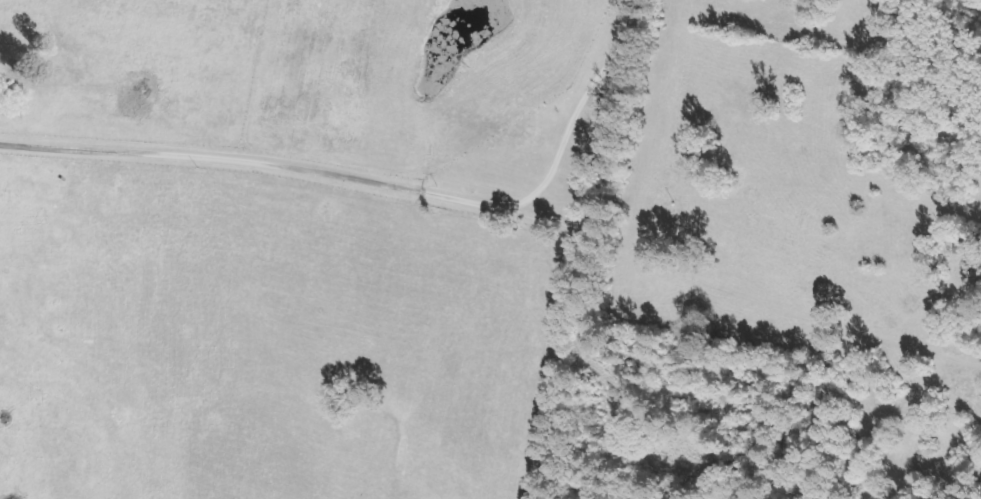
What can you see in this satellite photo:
road: (611, 249)

